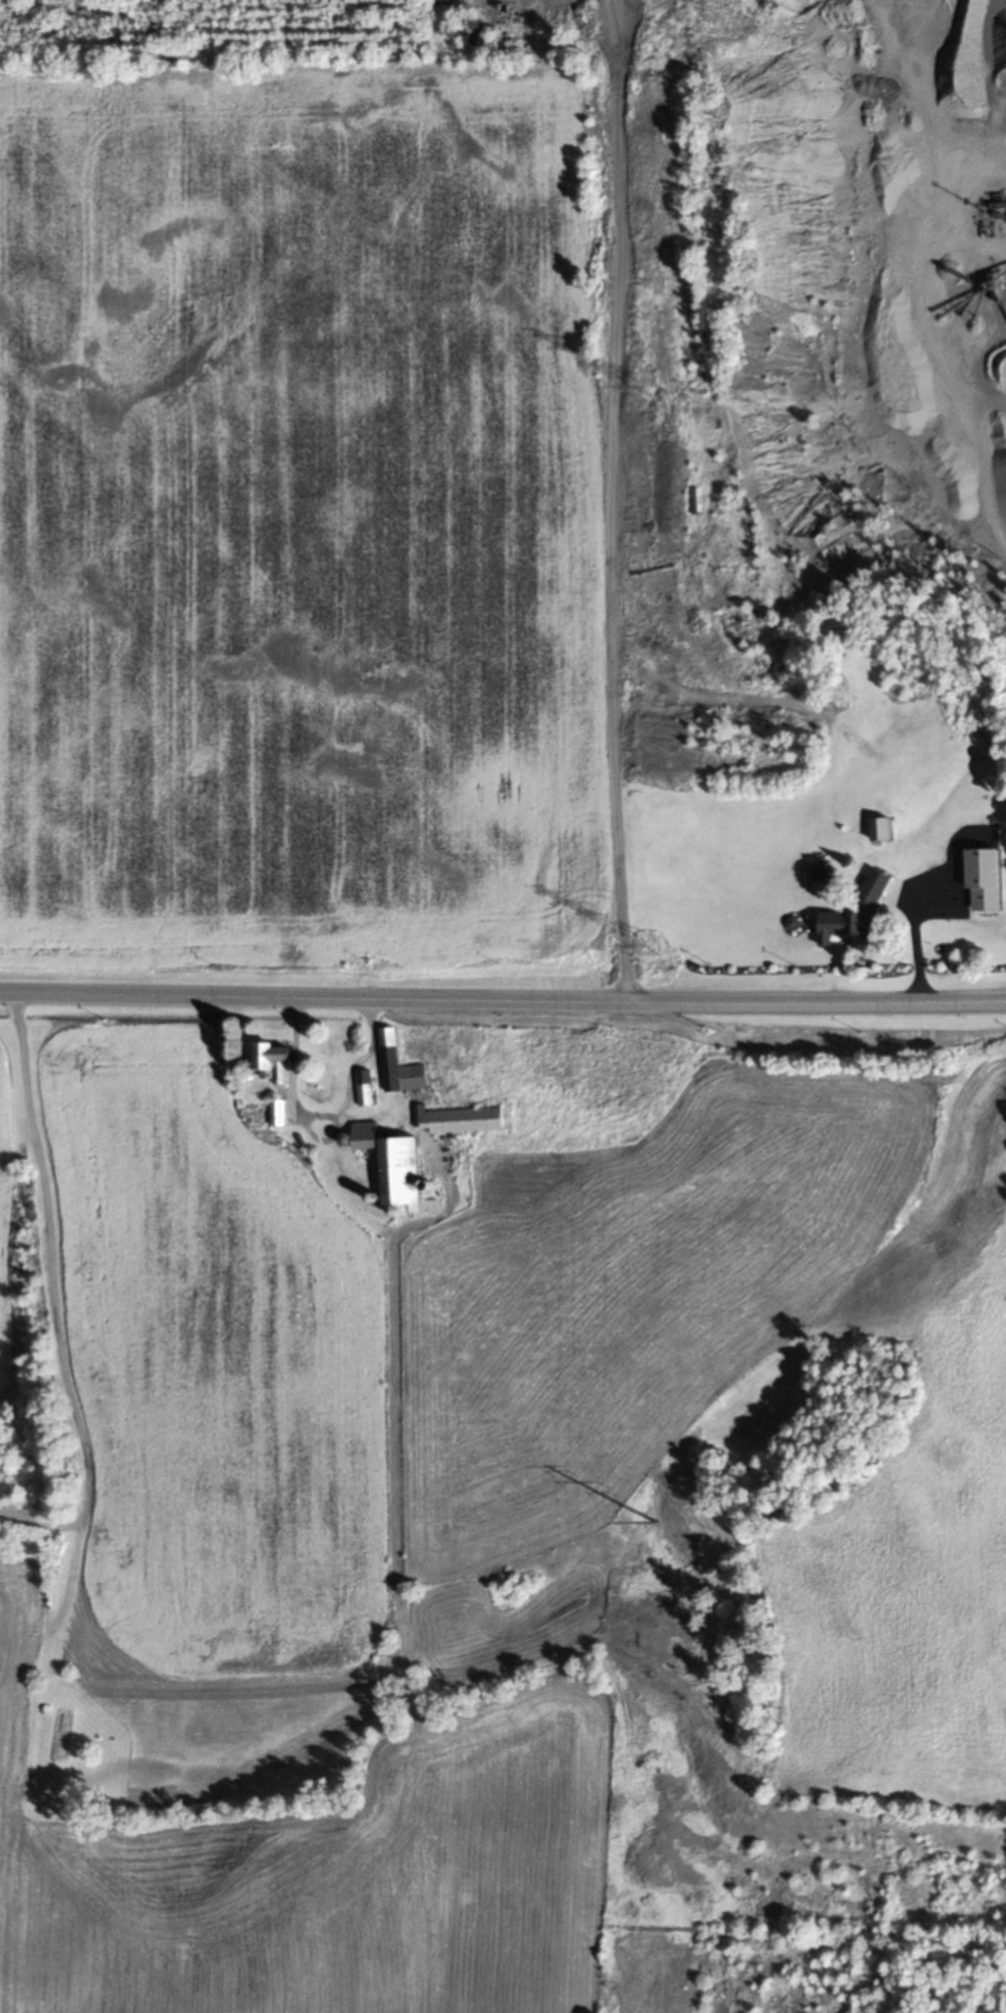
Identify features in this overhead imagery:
power tower: (640, 385)
quarry: (836, 390)
building: (877, 829)
building: (981, 879)
building: (847, 919)
power tower: (645, 947)
road: (913, 948)
road: (502, 998)
building: (386, 1044)
building: (268, 1059)
building: (361, 1086)
building: (274, 1111)
road: (318, 1116)
building: (455, 1118)
building: (360, 1134)
building: (398, 1172)
road: (51, 1296)
power tower: (650, 1520)

